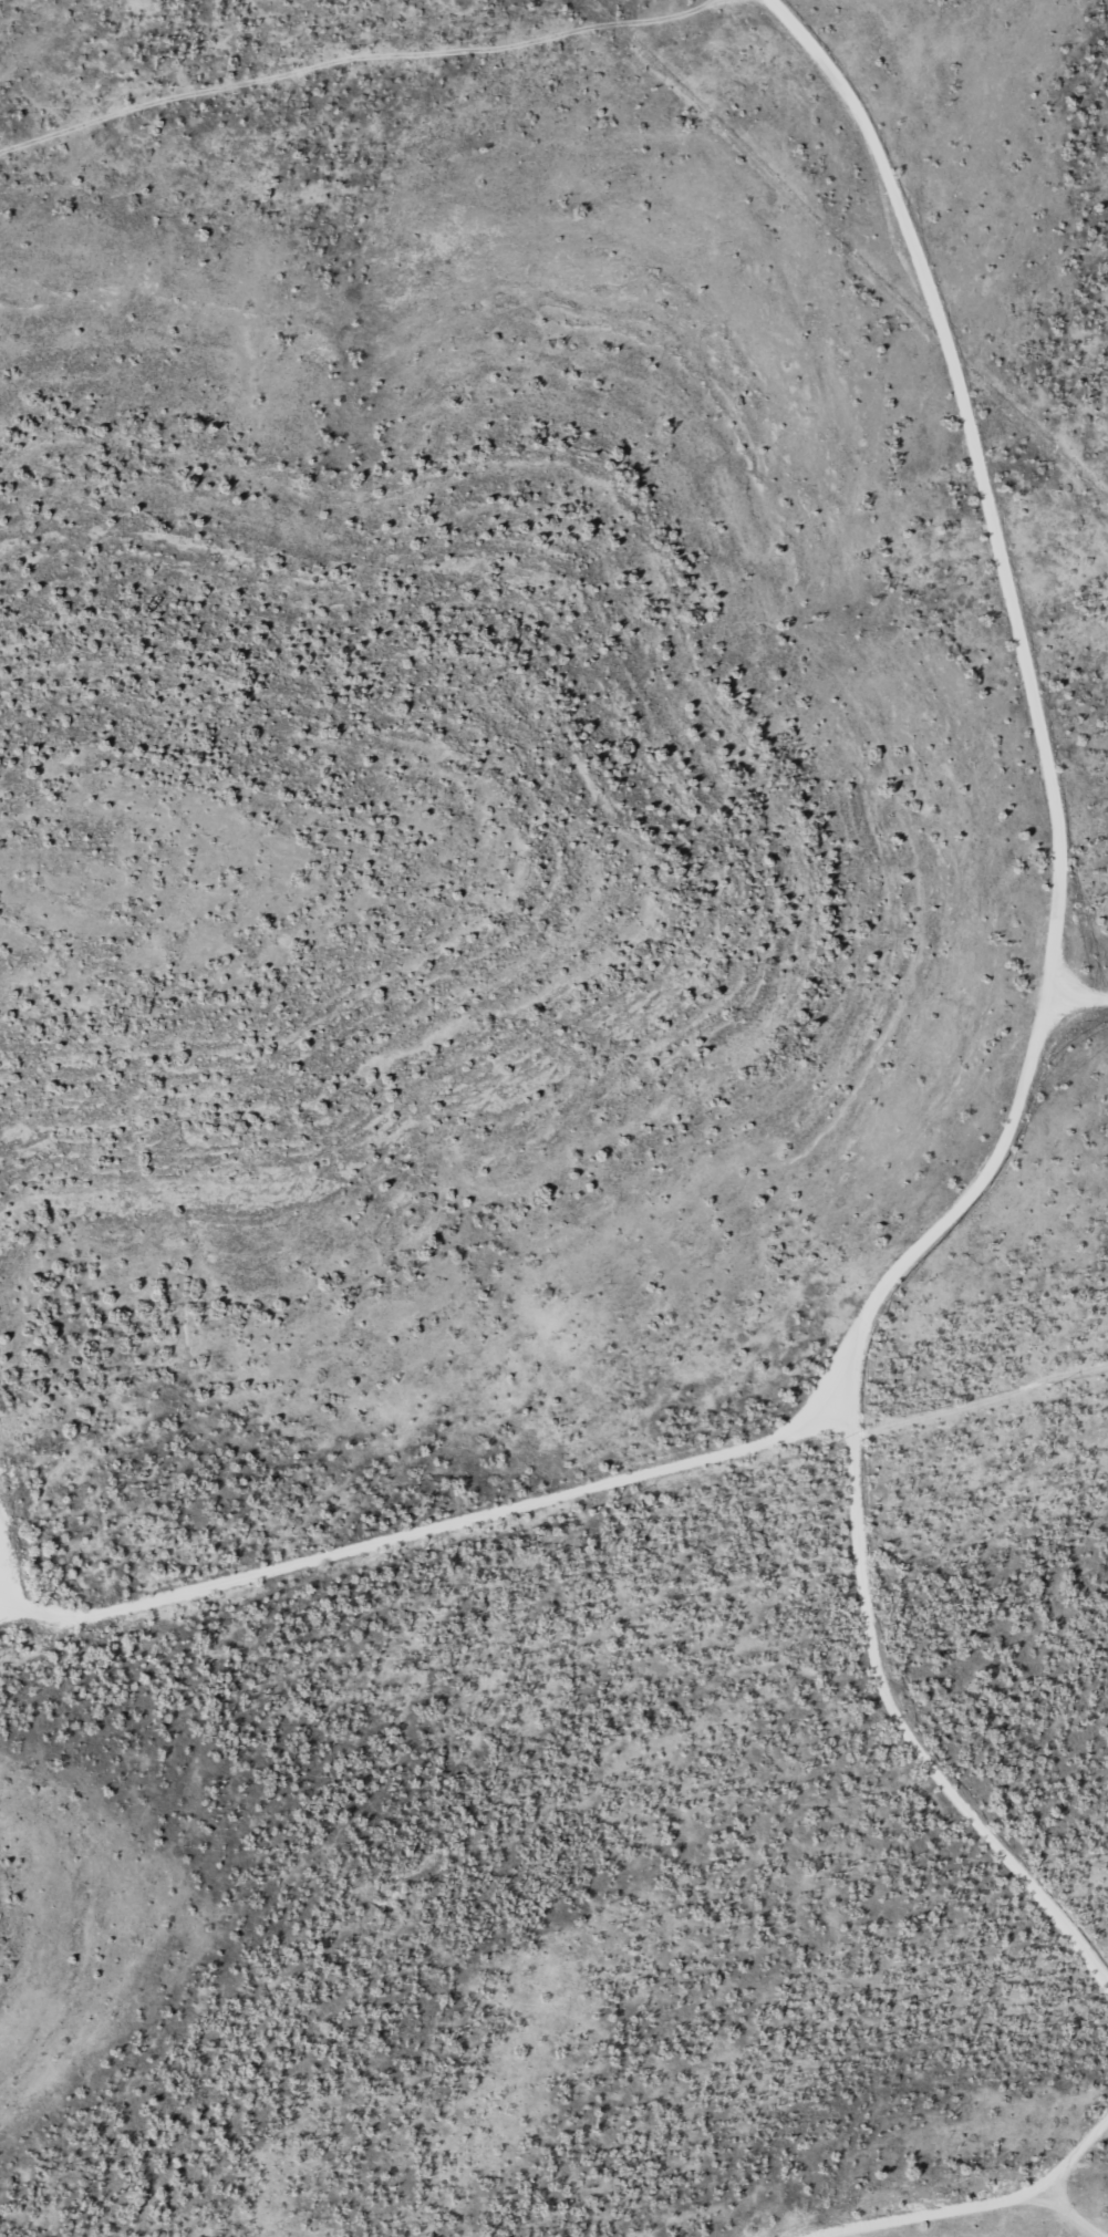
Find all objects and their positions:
road: (995, 224)
road: (891, 1653)

